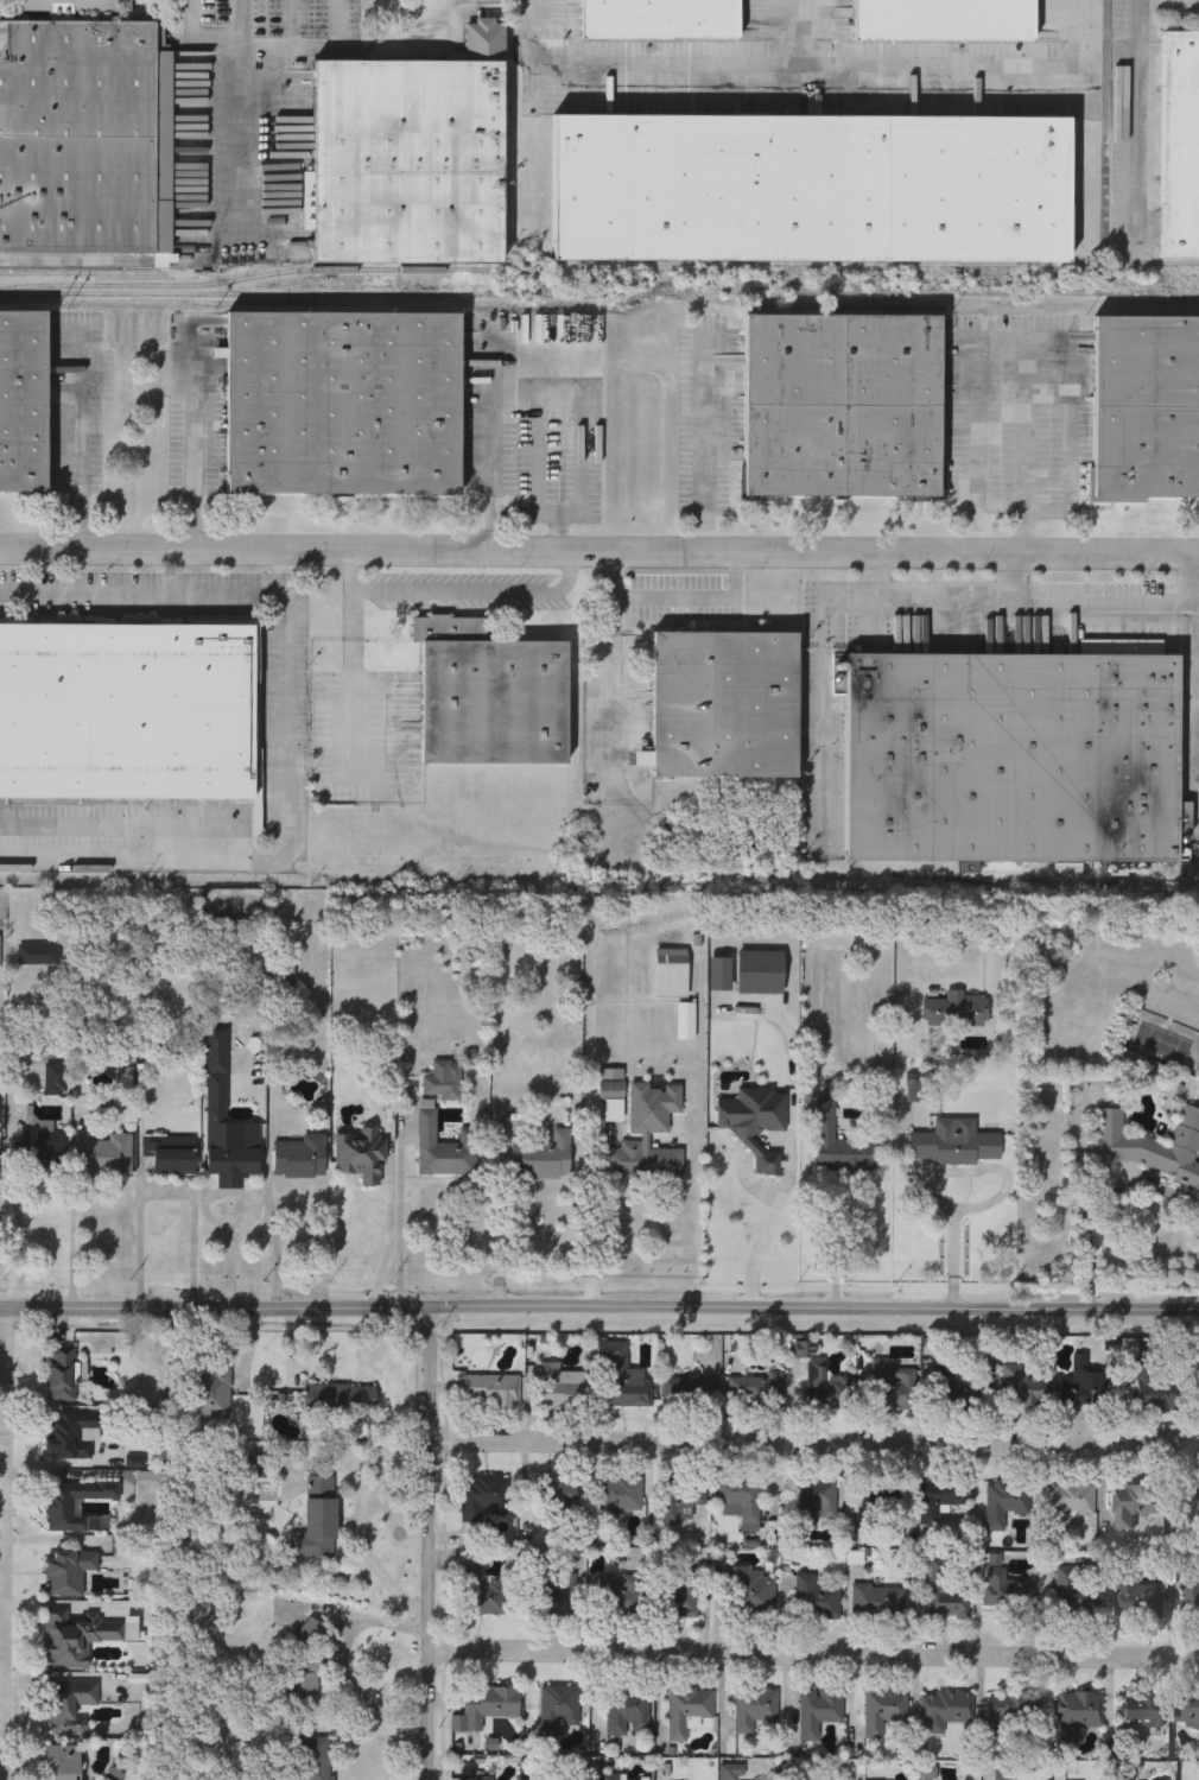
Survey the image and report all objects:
building: (75, 4)
building: (660, 20)
building: (945, 20)
road: (196, 43)
road: (311, 44)
road: (666, 66)
road: (978, 66)
road: (1140, 112)
road: (240, 123)
building: (83, 138)
building: (1181, 144)
building: (411, 156)
building: (812, 189)
railway: (1172, 266)
railway: (90, 273)
railway: (246, 277)
railway: (599, 293)
railway: (795, 306)
road: (579, 329)
road: (1001, 337)
building: (23, 400)
building: (344, 404)
building: (842, 406)
building: (1146, 407)
road: (195, 441)
road: (704, 446)
road: (488, 451)
road: (514, 513)
road: (598, 552)
road: (1197, 579)
road: (1013, 581)
road: (141, 593)
road: (457, 594)
road: (674, 600)
road: (1013, 604)
road: (353, 683)
building: (490, 696)
building: (725, 705)
road: (1198, 705)
building: (126, 711)
building: (1013, 758)
road: (286, 848)
building: (39, 954)
building: (0, 956)
building: (762, 971)
building: (284, 973)
building: (673, 973)
building: (958, 1009)
building: (57, 1079)
building: (444, 1079)
building: (919, 1087)
building: (614, 1091)
building: (228, 1122)
building: (757, 1126)
building: (839, 1142)
building: (1152, 1145)
building: (46, 1146)
building: (956, 1146)
building: (446, 1147)
building: (107, 1154)
building: (173, 1154)
building: (362, 1154)
building: (302, 1157)
building: (545, 1157)
building: (0, 1160)
building: (653, 1161)
road: (902, 1166)
road: (1001, 1170)
road: (166, 1195)
road: (209, 1198)
road: (592, 1206)
road: (503, 1215)
road: (20, 1221)
road: (402, 1228)
road: (772, 1229)
road: (1089, 1234)
road: (75, 1244)
road: (229, 1246)
road: (845, 1246)
road: (389, 1249)
road: (598, 1306)
building: (62, 1375)
building: (624, 1385)
building: (553, 1387)
building: (890, 1387)
building: (1083, 1387)
building: (947, 1388)
building: (1017, 1388)
building: (824, 1391)
building: (491, 1392)
building: (689, 1392)
building: (755, 1392)
building: (1154, 1393)
building: (210, 1394)
road: (1, 1400)
building: (338, 1401)
building: (70, 1437)
road: (814, 1446)
building: (616, 1497)
building: (484, 1499)
building: (938, 1500)
building: (683, 1501)
building: (816, 1501)
building: (880, 1501)
building: (76, 1502)
building: (557, 1502)
building: (740, 1502)
building: (1068, 1505)
building: (1185, 1505)
building: (1133, 1506)
building: (1000, 1507)
building: (316, 1524)
road: (359, 1527)
road: (430, 1543)
building: (66, 1572)
building: (1005, 1589)
building: (751, 1591)
building: (481, 1595)
building: (683, 1595)
building: (1077, 1595)
building: (620, 1596)
building: (945, 1596)
building: (544, 1597)
building: (1137, 1598)
building: (816, 1600)
building: (877, 1601)
building: (1190, 1603)
building: (76, 1639)
road: (814, 1653)
road: (343, 1664)
building: (66, 1705)
building: (484, 1708)
building: (557, 1710)
building: (756, 1710)
building: (687, 1711)
building: (818, 1711)
building: (941, 1711)
building: (1187, 1712)
building: (884, 1714)
building: (627, 1715)
building: (1014, 1715)
building: (1077, 1715)
building: (1144, 1716)
building: (317, 1759)
building: (62, 1762)
building: (1003, 1771)
building: (482, 1778)
building: (609, 1778)
building: (558, 1779)
building: (820, 1779)

